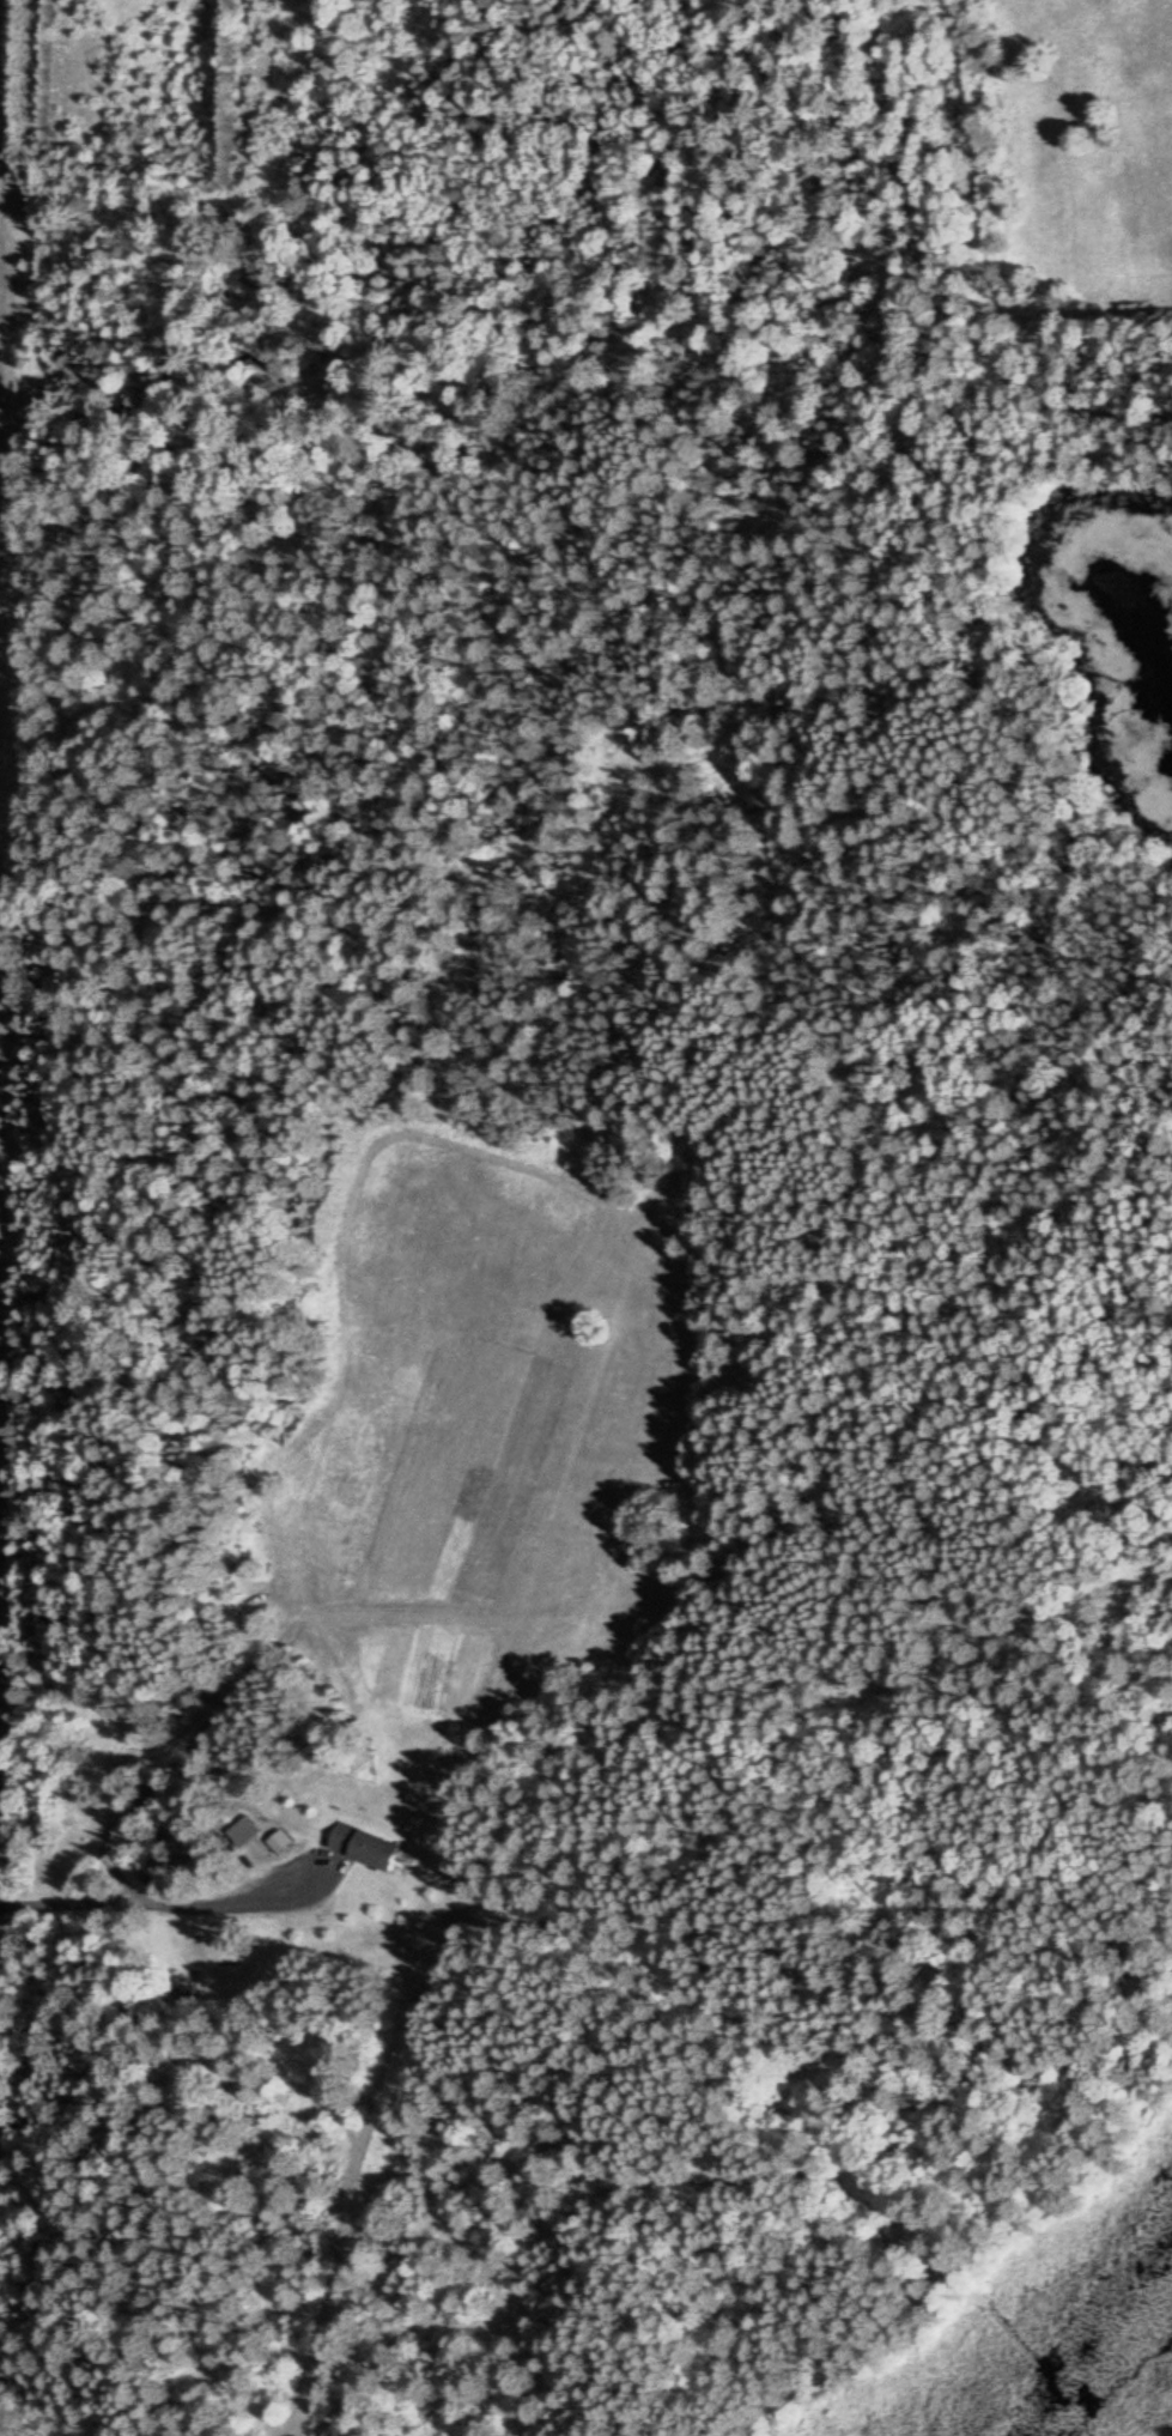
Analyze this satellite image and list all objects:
building: (243, 1831)
building: (366, 1847)
building: (178, 1998)
river: (1099, 2335)

